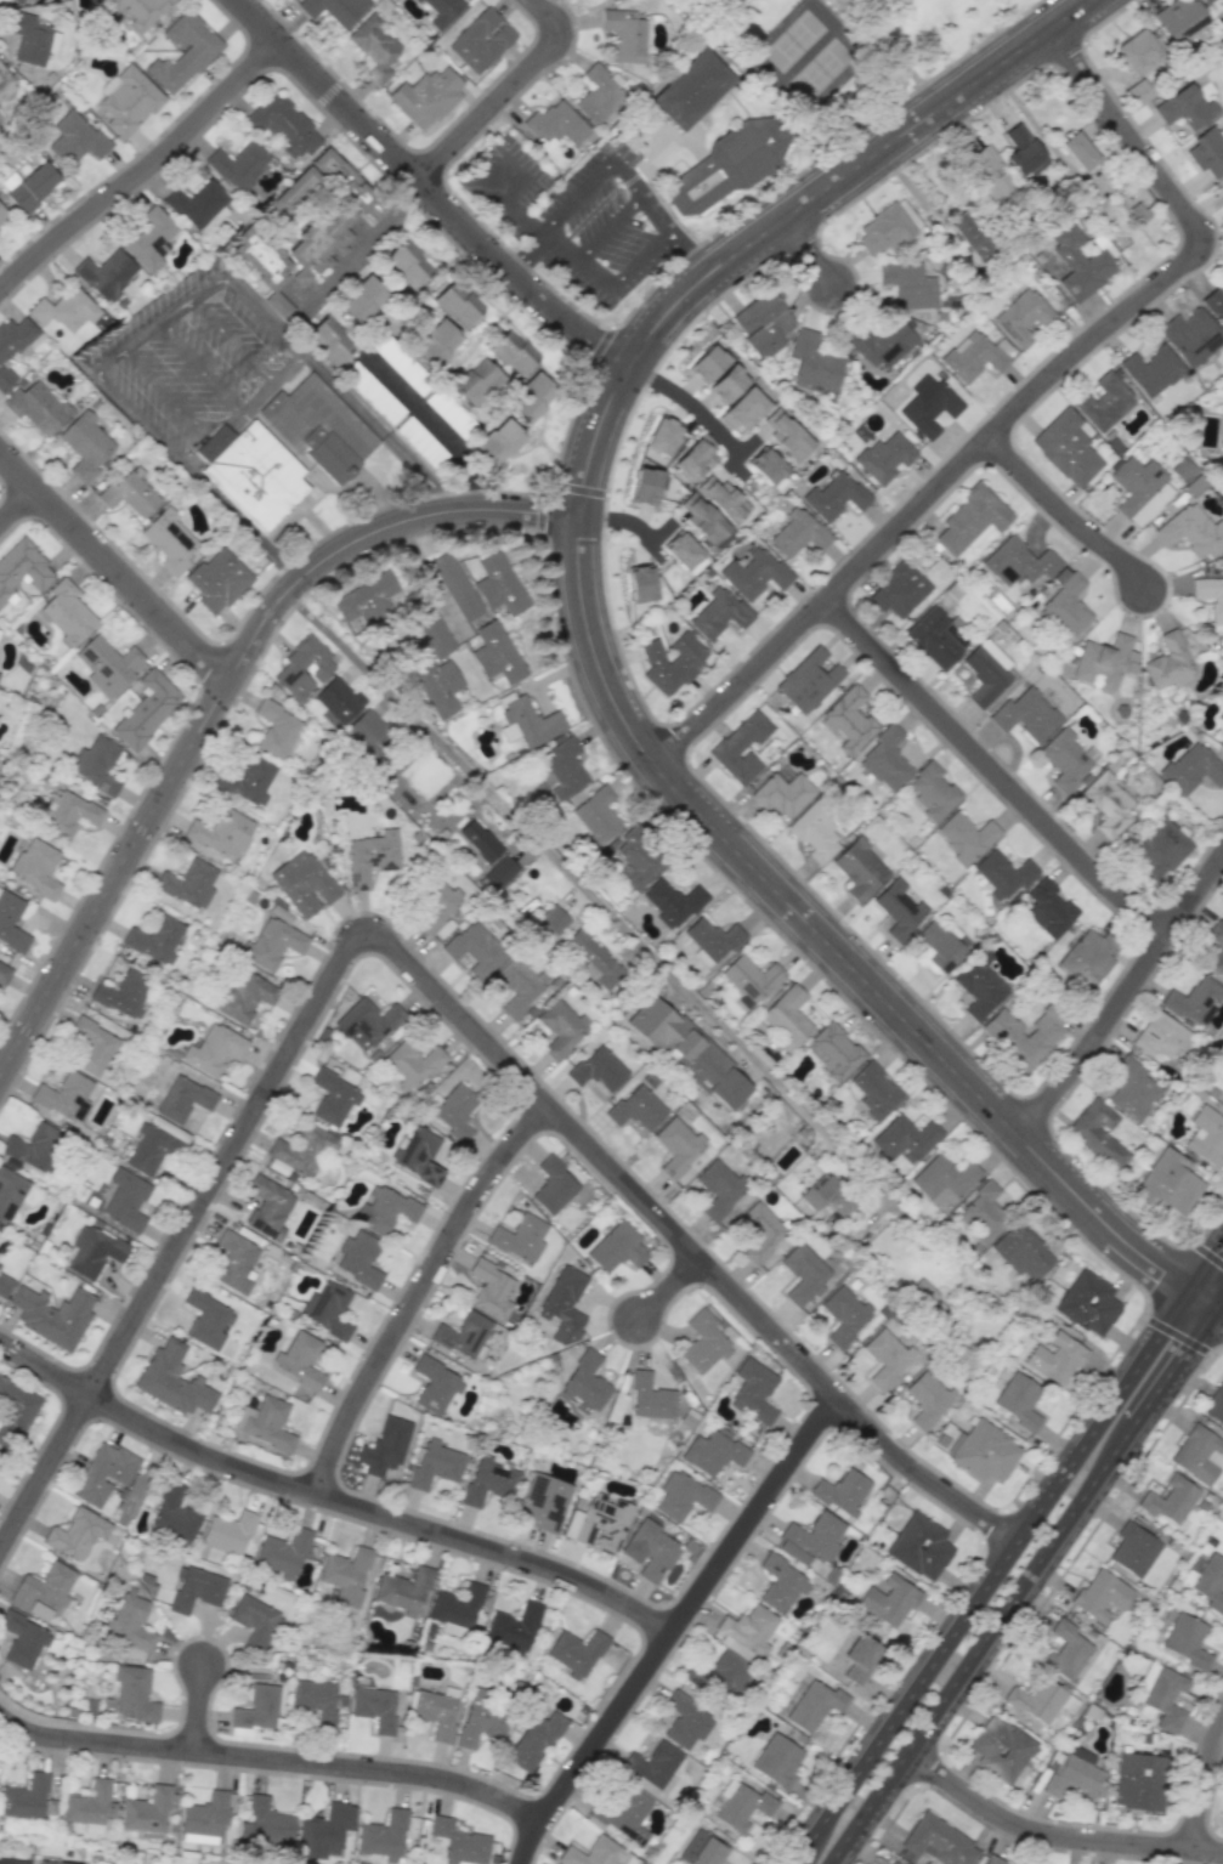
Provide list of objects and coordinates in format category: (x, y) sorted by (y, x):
building: (17, 1)
building: (1206, 1)
park: (686, 4)
building: (142, 10)
building: (334, 10)
building: (441, 11)
road: (1054, 12)
building: (1178, 18)
building: (623, 35)
building: (32, 38)
building: (481, 40)
park: (793, 40)
building: (374, 46)
building: (183, 52)
park: (842, 52)
building: (1138, 52)
road: (901, 57)
park: (820, 68)
building: (5, 84)
building: (690, 90)
road: (503, 94)
building: (599, 94)
building: (426, 96)
building: (129, 101)
building: (1184, 107)
building: (555, 123)
building: (283, 125)
building: (75, 138)
building: (1078, 151)
building: (1023, 152)
building: (1207, 152)
building: (238, 165)
building: (727, 165)
road: (517, 168)
road: (493, 171)
road: (145, 174)
building: (989, 174)
building: (1222, 182)
building: (29, 186)
road: (429, 191)
road: (517, 192)
road: (640, 193)
road: (492, 194)
road: (576, 198)
building: (198, 205)
building: (2, 214)
road: (522, 221)
road: (608, 228)
building: (883, 231)
building: (308, 234)
building: (969, 236)
building: (148, 239)
road: (361, 248)
road: (693, 251)
road: (526, 254)
road: (812, 255)
road: (641, 260)
building: (1080, 262)
building: (406, 264)
road: (576, 264)
building: (106, 274)
building: (908, 285)
road: (203, 293)
building: (362, 300)
building: (457, 304)
building: (1213, 305)
building: (64, 310)
building: (1023, 317)
building: (763, 323)
building: (1190, 336)
building: (328, 340)
road: (232, 342)
building: (883, 342)
building: (436, 344)
building: (15, 345)
building: (513, 353)
building: (974, 356)
building: (812, 362)
building: (707, 363)
building: (401, 364)
road: (203, 367)
building: (1151, 370)
building: (476, 381)
building: (727, 384)
road: (164, 391)
building: (372, 392)
building: (531, 397)
building: (1103, 402)
road: (692, 406)
building: (36, 407)
road: (1014, 407)
building: (929, 409)
building: (743, 410)
building: (448, 412)
road: (138, 414)
road: (240, 414)
road: (431, 425)
building: (318, 427)
road: (376, 431)
building: (787, 435)
building: (662, 436)
building: (420, 442)
building: (499, 442)
building: (86, 444)
building: (1066, 448)
building: (696, 457)
building: (884, 457)
building: (765, 465)
building: (251, 472)
building: (645, 486)
building: (1138, 488)
building: (129, 493)
building: (834, 495)
building: (721, 499)
road: (19, 509)
road: (1066, 514)
building: (702, 519)
building: (970, 520)
building: (1191, 532)
building: (797, 533)
building: (169, 540)
building: (681, 550)
building: (1018, 561)
road: (113, 565)
building: (22, 570)
building: (754, 573)
building: (217, 580)
building: (641, 583)
building: (479, 585)
building: (899, 589)
building: (1210, 596)
building: (366, 599)
building: (1066, 605)
building: (67, 612)
building: (719, 613)
building: (432, 633)
building: (936, 636)
road: (594, 646)
building: (496, 653)
building: (670, 662)
building: (1104, 662)
building: (1168, 663)
building: (108, 664)
building: (302, 669)
building: (808, 681)
building: (437, 685)
road: (219, 693)
building: (338, 699)
building: (146, 708)
building: (1025, 714)
building: (1219, 718)
building: (527, 721)
building: (277, 730)
building: (368, 732)
building: (740, 747)
building: (884, 759)
building: (1066, 759)
building: (96, 763)
building: (561, 767)
road: (998, 769)
building: (1191, 769)
building: (248, 781)
building: (932, 792)
building: (781, 794)
building: (1108, 804)
building: (70, 814)
building: (596, 815)
building: (221, 832)
building: (814, 833)
building: (964, 835)
building: (479, 840)
building: (1160, 848)
building: (370, 857)
building: (636, 859)
building: (35, 868)
building: (860, 869)
building: (499, 872)
building: (1003, 873)
building: (188, 883)
building: (302, 883)
building: (672, 902)
building: (435, 905)
building: (899, 908)
building: (1047, 908)
building: (1222, 916)
building: (554, 919)
building: (11, 922)
building: (155, 940)
building: (272, 940)
building: (709, 940)
building: (938, 947)
building: (475, 948)
road: (645, 954)
building: (1217, 956)
building: (1088, 957)
building: (594, 958)
building: (4, 974)
building: (749, 979)
building: (517, 985)
building: (979, 985)
building: (123, 993)
building: (242, 997)
road: (1123, 1001)
building: (1194, 1001)
building: (786, 1018)
building: (367, 1022)
building: (560, 1027)
building: (1025, 1036)
building: (1161, 1036)
building: (92, 1047)
building: (213, 1049)
road: (497, 1052)
building: (687, 1052)
building: (833, 1052)
building: (411, 1064)
building: (598, 1069)
building: (1222, 1069)
building: (1132, 1089)
building: (874, 1092)
building: (64, 1095)
building: (333, 1097)
building: (183, 1099)
building: (636, 1109)
building: (454, 1111)
building: (1098, 1133)
building: (1206, 1135)
building: (676, 1145)
building: (35, 1146)
building: (152, 1149)
building: (304, 1149)
building: (417, 1155)
building: (942, 1178)
building: (1168, 1184)
building: (553, 1186)
building: (718, 1189)
building: (9, 1192)
building: (826, 1196)
building: (125, 1200)
building: (268, 1207)
building: (384, 1209)
building: (981, 1213)
building: (758, 1231)
building: (520, 1237)
building: (616, 1247)
building: (94, 1251)
building: (1021, 1252)
road: (1208, 1252)
building: (358, 1259)
road: (1205, 1260)
building: (233, 1262)
building: (803, 1274)
building: (5, 1284)
building: (491, 1290)
road: (421, 1292)
road: (673, 1292)
road: (1201, 1296)
road: (1219, 1301)
building: (1087, 1303)
building: (564, 1304)
building: (328, 1309)
road: (1219, 1309)
building: (843, 1314)
building: (52, 1315)
building: (206, 1319)
road: (1204, 1324)
road: (1166, 1328)
building: (463, 1335)
building: (702, 1343)
road: (1201, 1348)
building: (885, 1358)
building: (1054, 1358)
building: (299, 1359)
building: (172, 1381)
building: (587, 1382)
road: (1161, 1383)
building: (435, 1386)
building: (753, 1390)
building: (649, 1396)
building: (927, 1398)
building: (1018, 1399)
building: (1214, 1405)
building: (15, 1409)
road: (1102, 1412)
building: (266, 1423)
building: (384, 1446)
building: (984, 1451)
building: (713, 1452)
building: (1199, 1454)
building: (436, 1463)
building: (103, 1473)
road: (45, 1474)
building: (488, 1480)
building: (840, 1491)
building: (681, 1495)
road: (332, 1498)
building: (1170, 1498)
building: (543, 1502)
building: (174, 1515)
building: (228, 1532)
building: (77, 1534)
building: (811, 1540)
building: (919, 1546)
building: (1133, 1549)
building: (650, 1551)
building: (282, 1553)
building: (345, 1575)
building: (1210, 1582)
building: (780, 1583)
building: (196, 1588)
building: (43, 1590)
road: (1019, 1590)
building: (403, 1591)
building: (1100, 1596)
building: (888, 1600)
building: (457, 1605)
building: (254, 1621)
building: (131, 1622)
building: (514, 1627)
road: (676, 1627)
building: (746, 1631)
building: (23, 1639)
building: (1185, 1641)
building: (1065, 1650)
building: (576, 1653)
building: (857, 1658)
building: (723, 1675)
building: (132, 1694)
road: (905, 1698)
building: (1038, 1698)
building: (1165, 1699)
building: (814, 1705)
building: (374, 1707)
building: (257, 1709)
road: (199, 1710)
building: (435, 1713)
building: (481, 1718)
building: (685, 1721)
building: (534, 1741)
building: (1001, 1749)
road: (273, 1761)
building: (776, 1761)
building: (651, 1764)
building: (1074, 1775)
building: (1139, 1781)
road: (1205, 1791)
building: (24, 1797)
building: (89, 1806)
building: (743, 1807)
road: (868, 1808)
building: (146, 1811)
building: (624, 1814)
building: (204, 1819)
building: (265, 1824)
building: (324, 1831)
road: (1053, 1835)
building: (383, 1836)
building: (459, 1842)
building: (936, 1843)
building: (701, 1849)
building: (594, 1853)
road: (793, 1860)
building: (991, 1860)
building: (55, 1863)
building: (889, 1863)

